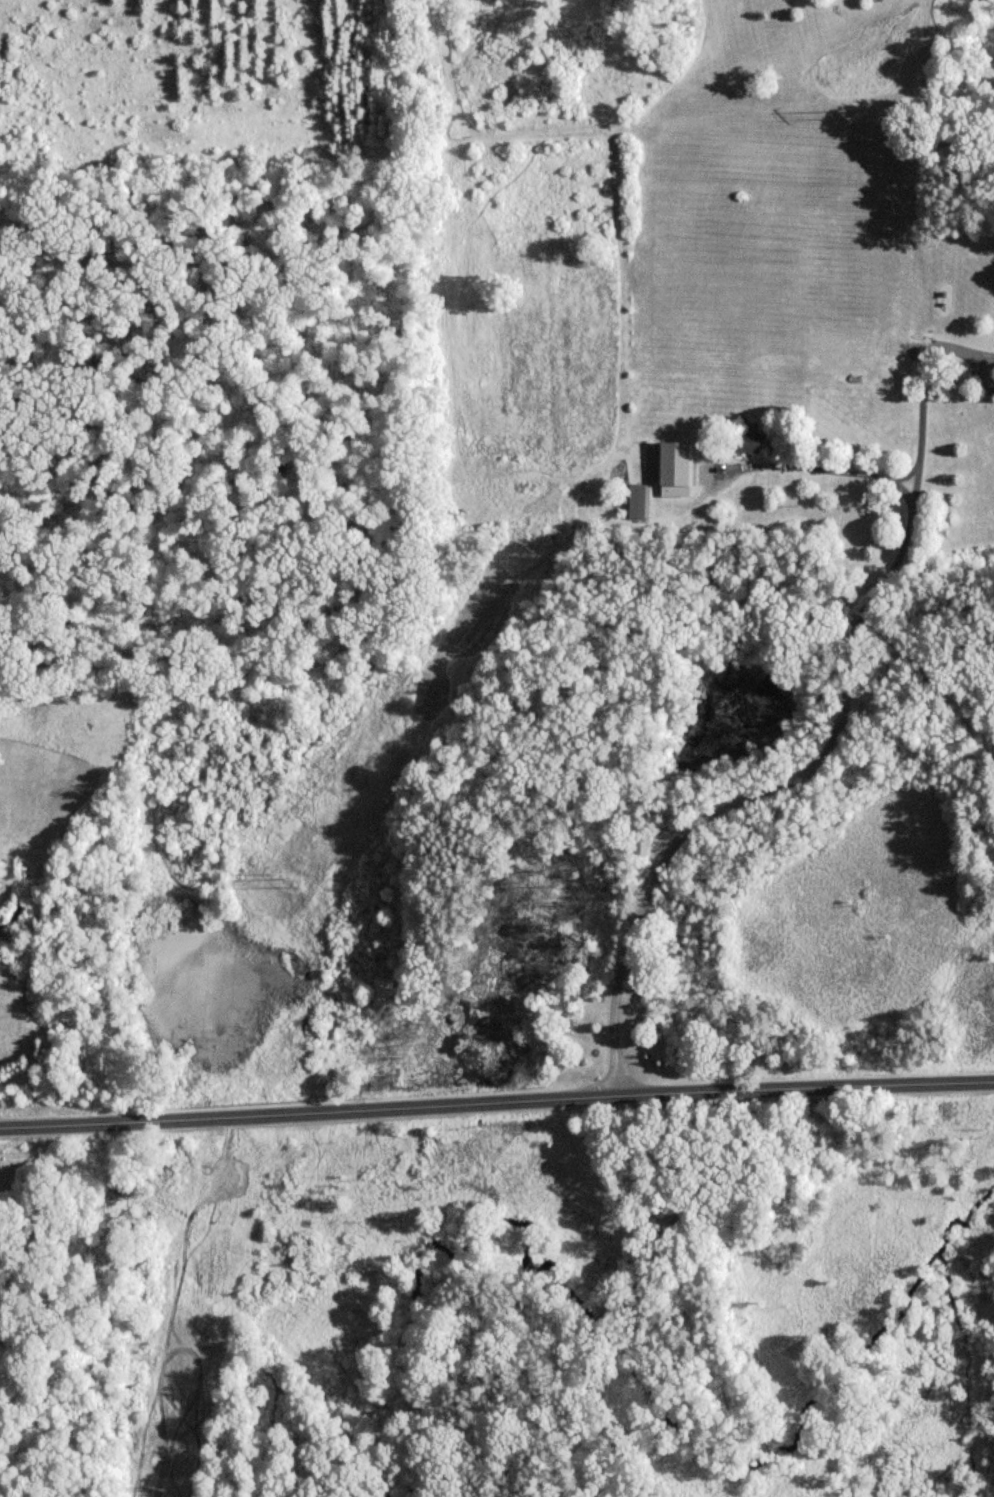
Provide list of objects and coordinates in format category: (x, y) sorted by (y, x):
power tower: (846, 114)
road: (920, 395)
building: (749, 441)
building: (677, 464)
building: (637, 501)
power tower: (536, 543)
road: (831, 733)
power tower: (294, 883)
road: (496, 1105)
power tower: (157, 1480)

